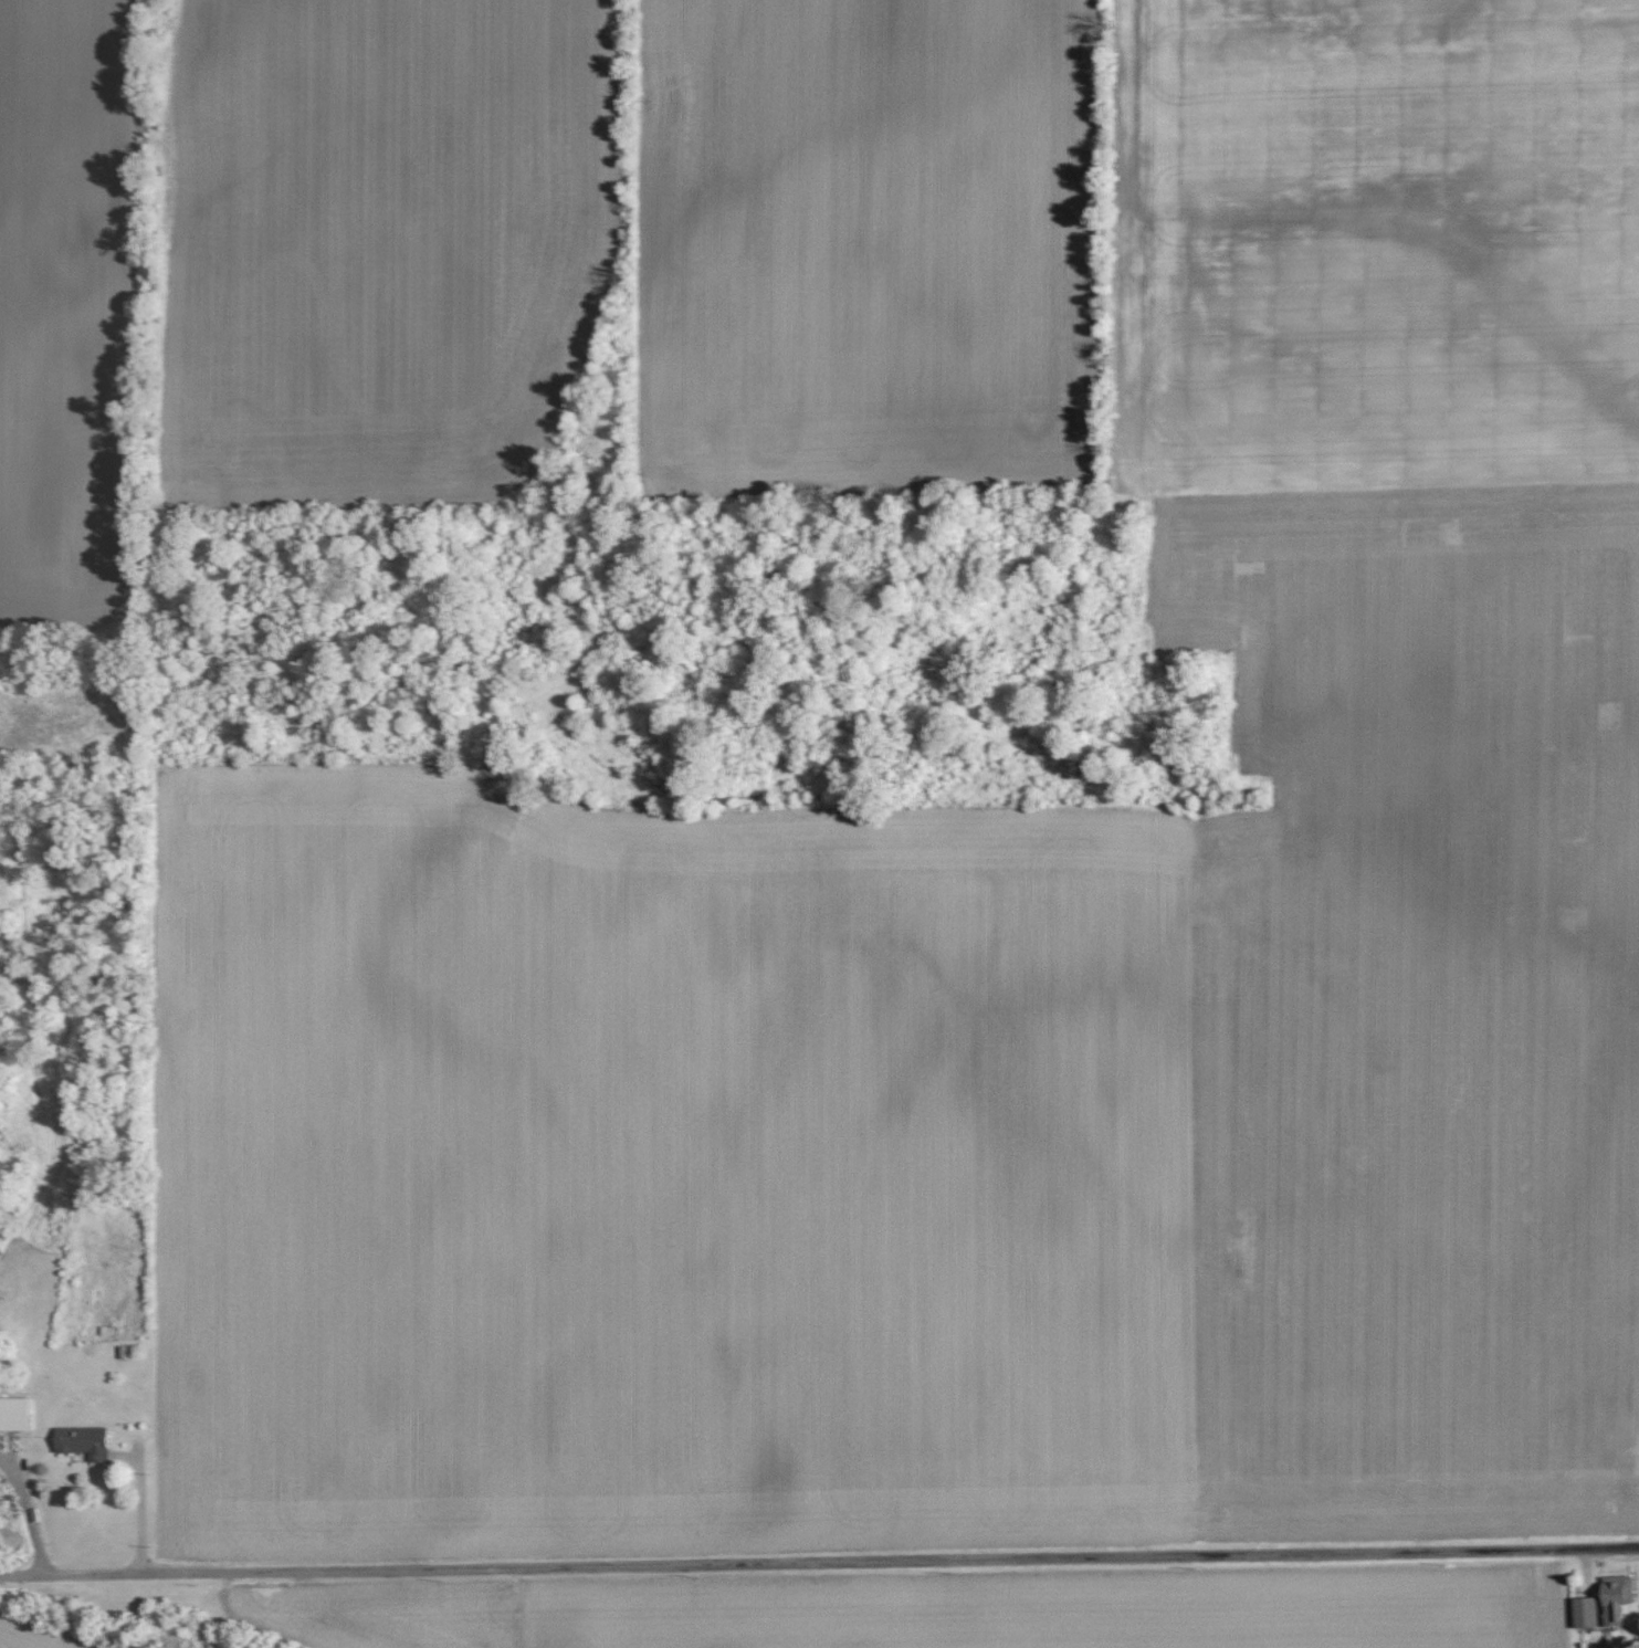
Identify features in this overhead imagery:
building: (14, 1415)
building: (81, 1442)
road: (139, 1512)
road: (27, 1514)
road: (819, 1560)

